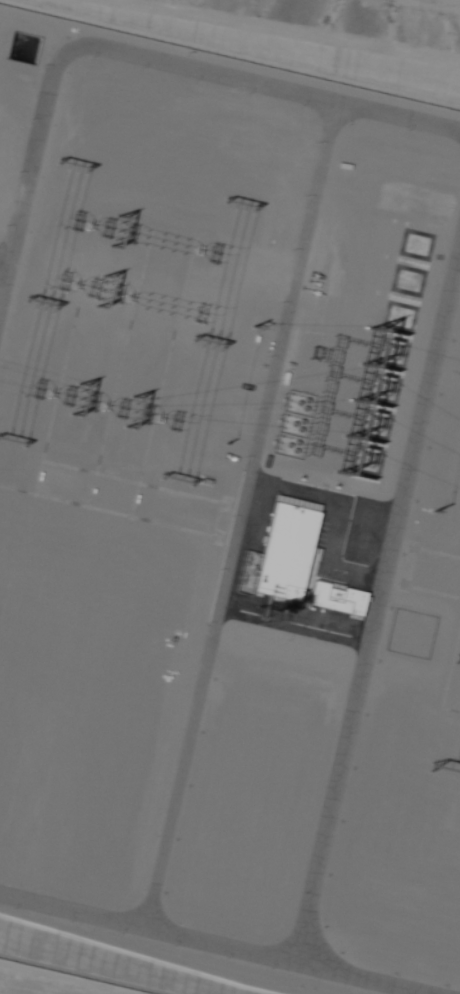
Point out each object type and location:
power substation: (226, 523)

